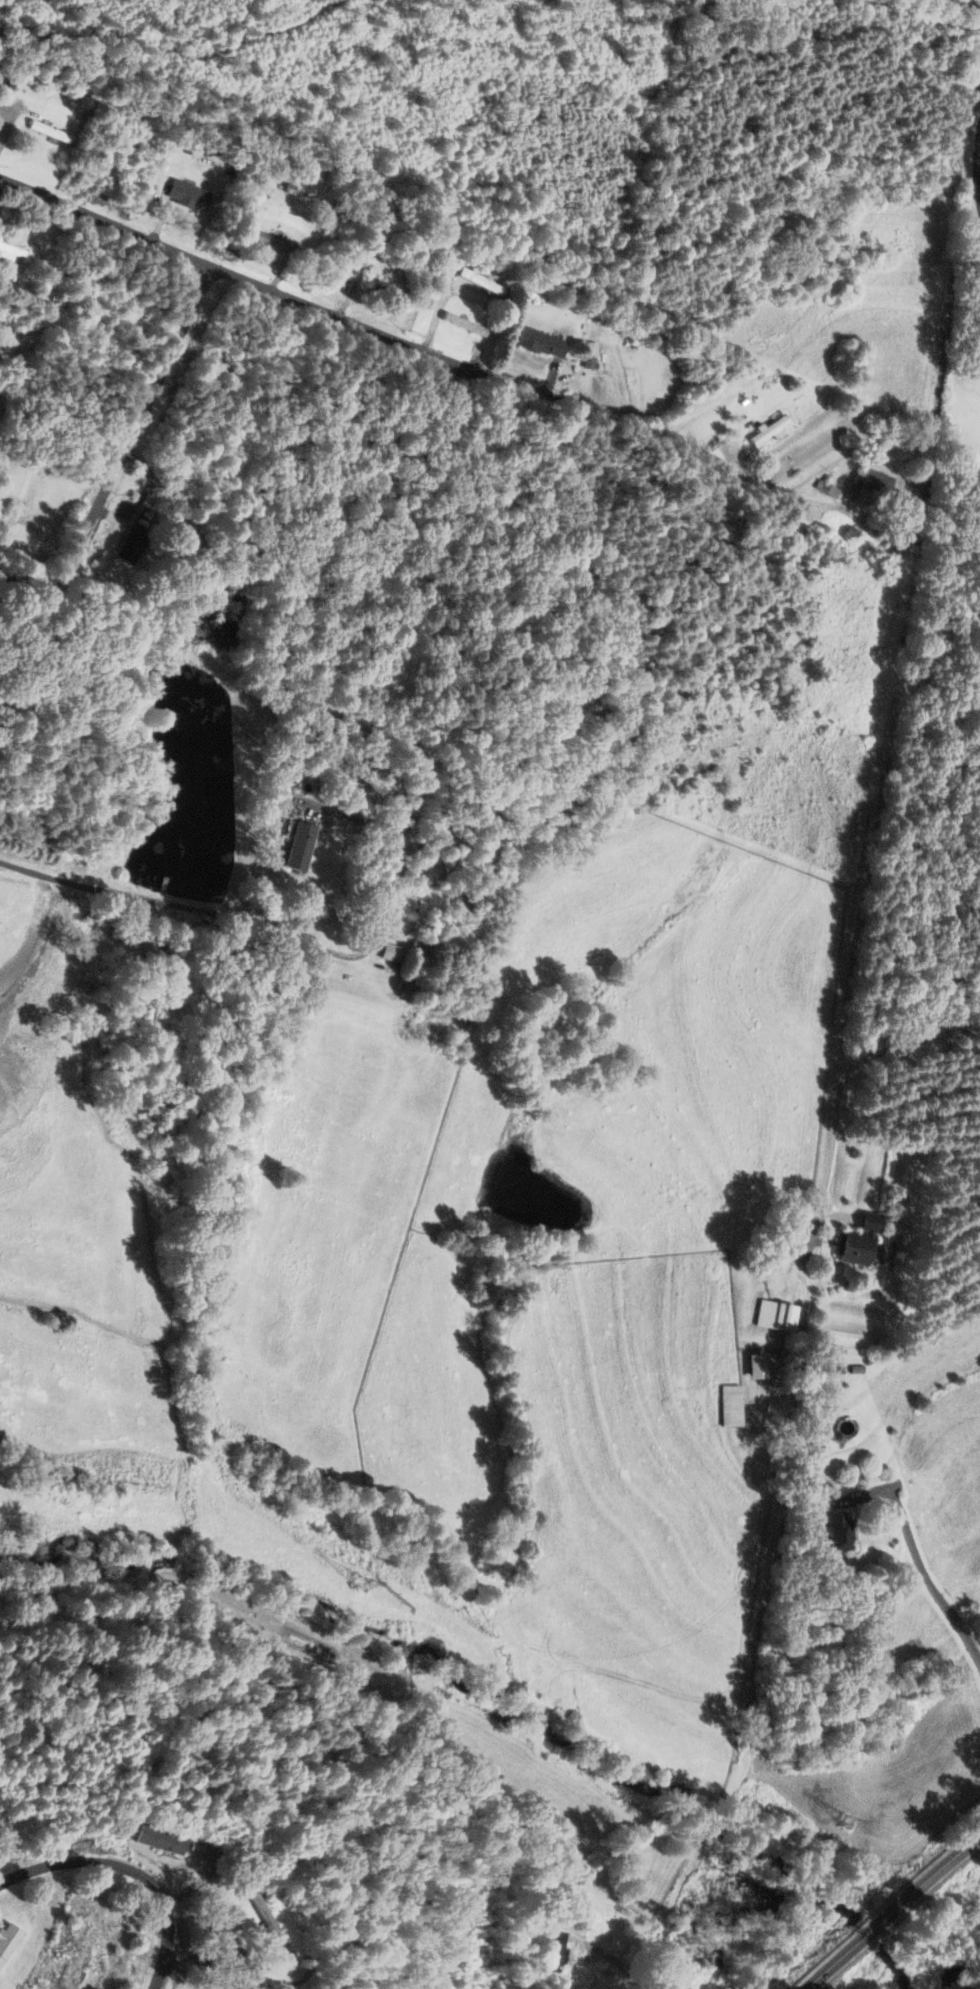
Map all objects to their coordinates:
building: (45, 130)
road: (977, 168)
building: (184, 194)
building: (9, 252)
building: (812, 265)
road: (189, 268)
building: (476, 279)
building: (378, 281)
building: (462, 324)
building: (539, 342)
building: (766, 431)
road: (131, 443)
building: (872, 480)
road: (813, 503)
building: (128, 544)
road: (17, 575)
building: (979, 675)
road: (891, 712)
building: (297, 846)
road: (8, 861)
road: (292, 937)
building: (412, 964)
building: (853, 1249)
building: (767, 1257)
building: (773, 1317)
building: (729, 1406)
building: (836, 1531)
road: (927, 1577)
building: (7, 1838)
building: (160, 1840)
road: (943, 1862)
road: (130, 1873)
road: (855, 1940)
building: (553, 1951)
road: (613, 1957)
building: (94, 1964)

